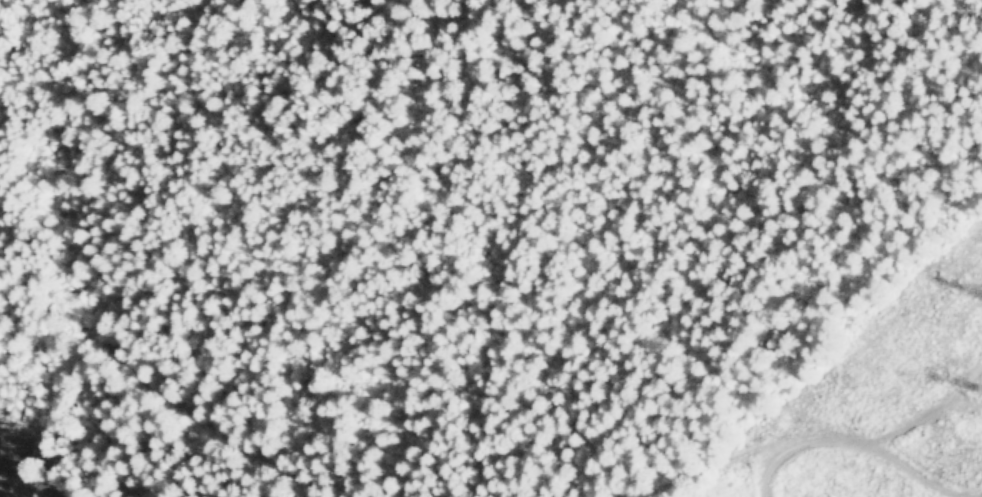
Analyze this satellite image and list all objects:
road: (123, 415)
road: (819, 473)
road: (735, 485)

